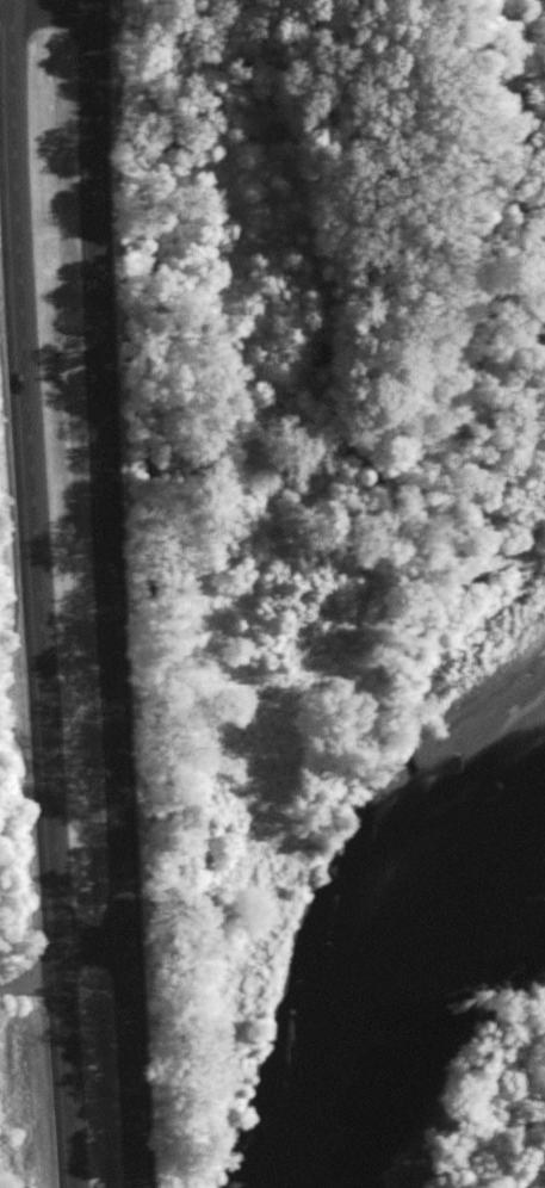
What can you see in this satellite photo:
road: (1, 0)
road: (2, 0)
road: (47, 5)
road: (37, 594)
road: (113, 594)
river: (420, 908)
road: (62, 964)

